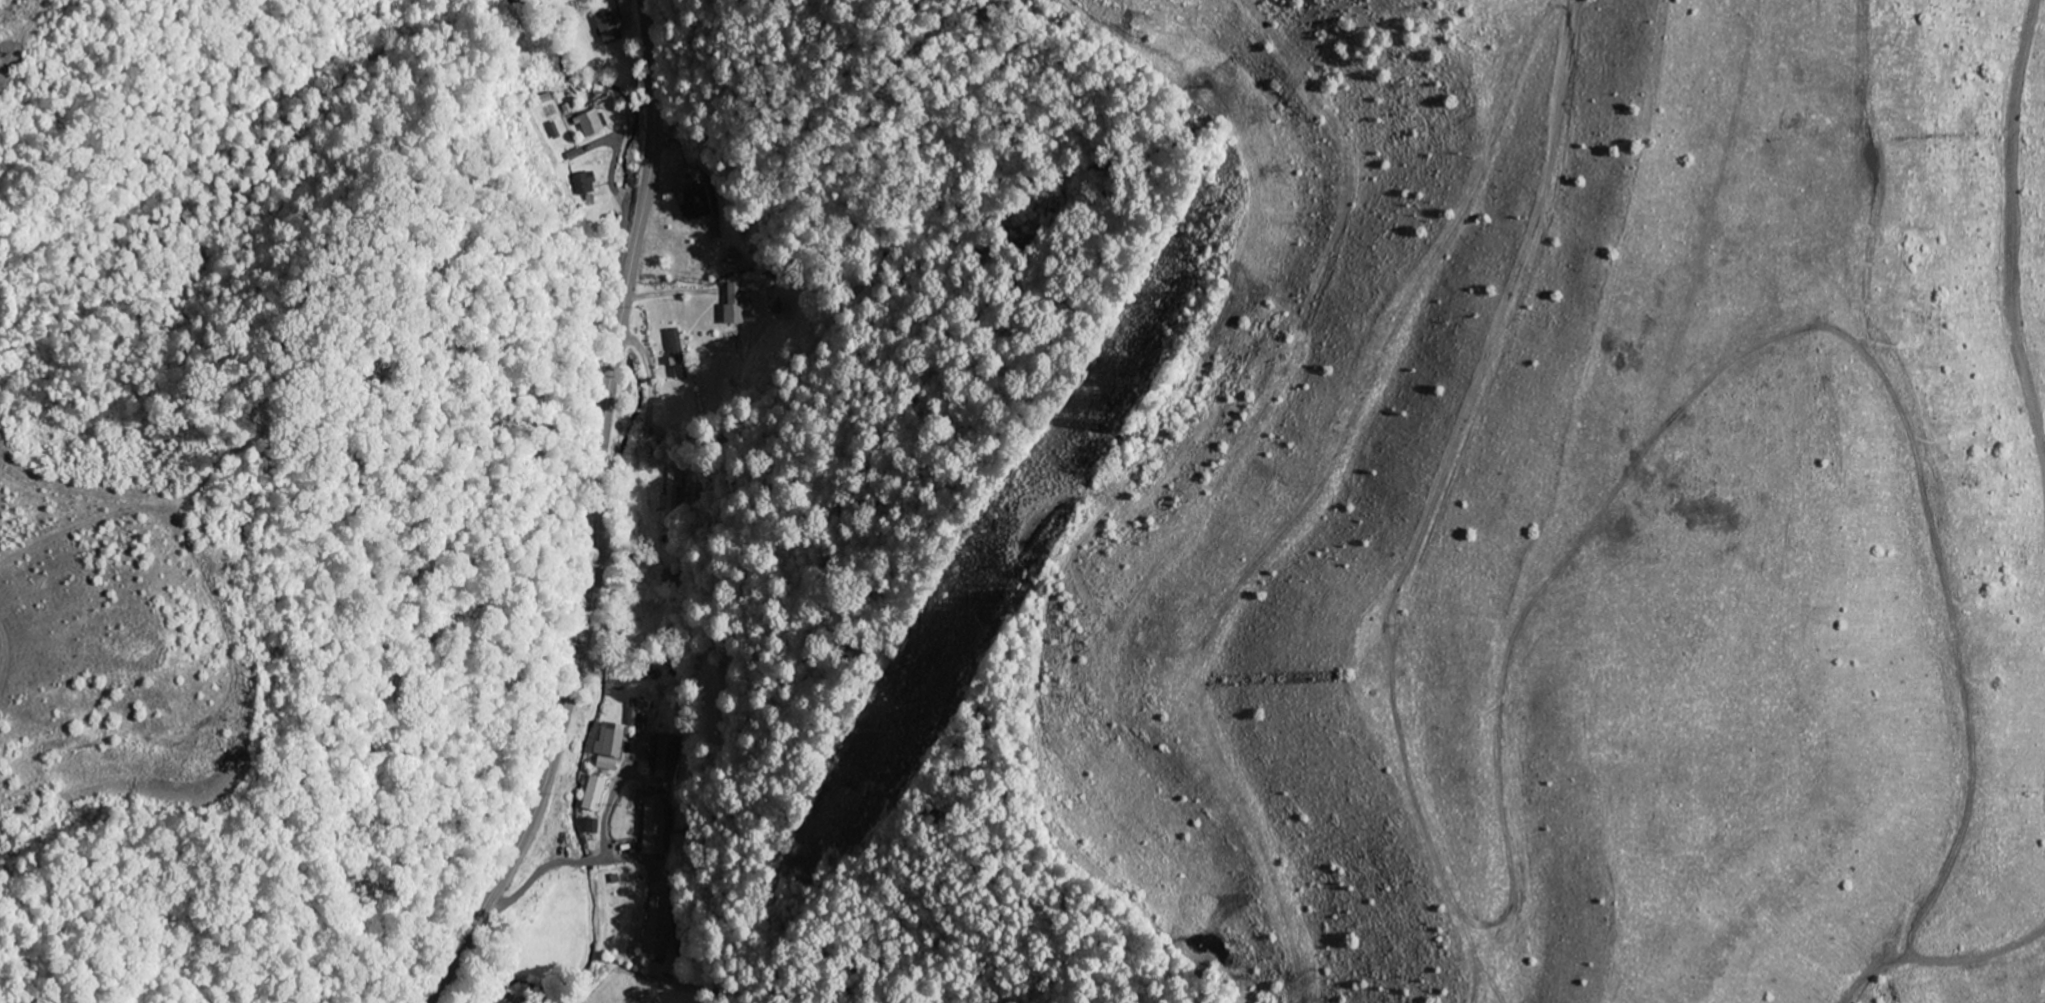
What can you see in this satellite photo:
road: (497, 8)
building: (609, 28)
building: (590, 125)
building: (554, 131)
building: (575, 155)
building: (584, 184)
building: (696, 205)
building: (735, 306)
building: (677, 355)
building: (672, 492)
road: (597, 516)
building: (610, 740)
building: (667, 759)
building: (606, 764)
building: (594, 794)
building: (653, 825)
building: (592, 826)
road: (575, 862)
building: (656, 928)

